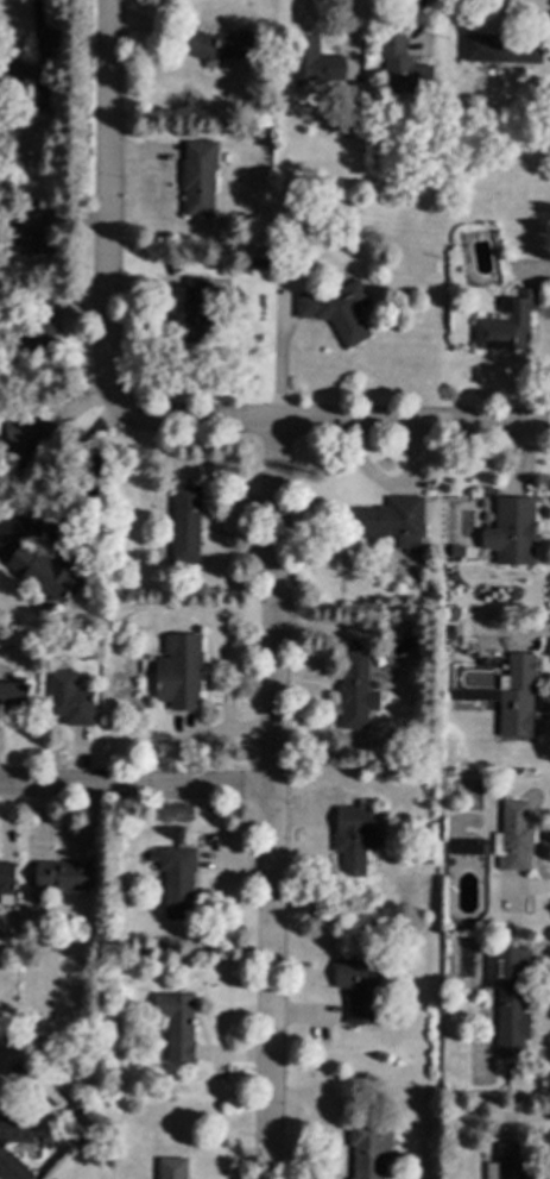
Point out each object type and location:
building: (222, 45)
building: (499, 49)
building: (312, 61)
building: (403, 67)
building: (188, 71)
building: (15, 75)
building: (39, 100)
building: (198, 176)
road: (109, 205)
building: (264, 208)
building: (36, 232)
building: (337, 311)
building: (195, 312)
building: (507, 322)
building: (39, 330)
road: (283, 360)
road: (329, 424)
building: (26, 435)
road: (88, 476)
building: (390, 519)
building: (185, 523)
building: (513, 531)
building: (43, 572)
building: (454, 613)
building: (393, 622)
building: (178, 671)
building: (355, 691)
building: (13, 696)
building: (517, 696)
building: (70, 700)
road: (133, 789)
road: (266, 801)
building: (354, 835)
building: (513, 836)
building: (466, 847)
building: (63, 876)
building: (177, 882)
building: (6, 883)
building: (107, 946)
building: (358, 989)
building: (510, 998)
building: (177, 1026)
building: (15, 1070)
building: (140, 1093)
building: (1, 1146)
building: (369, 1148)
building: (510, 1162)
building: (171, 1168)
building: (52, 1178)

